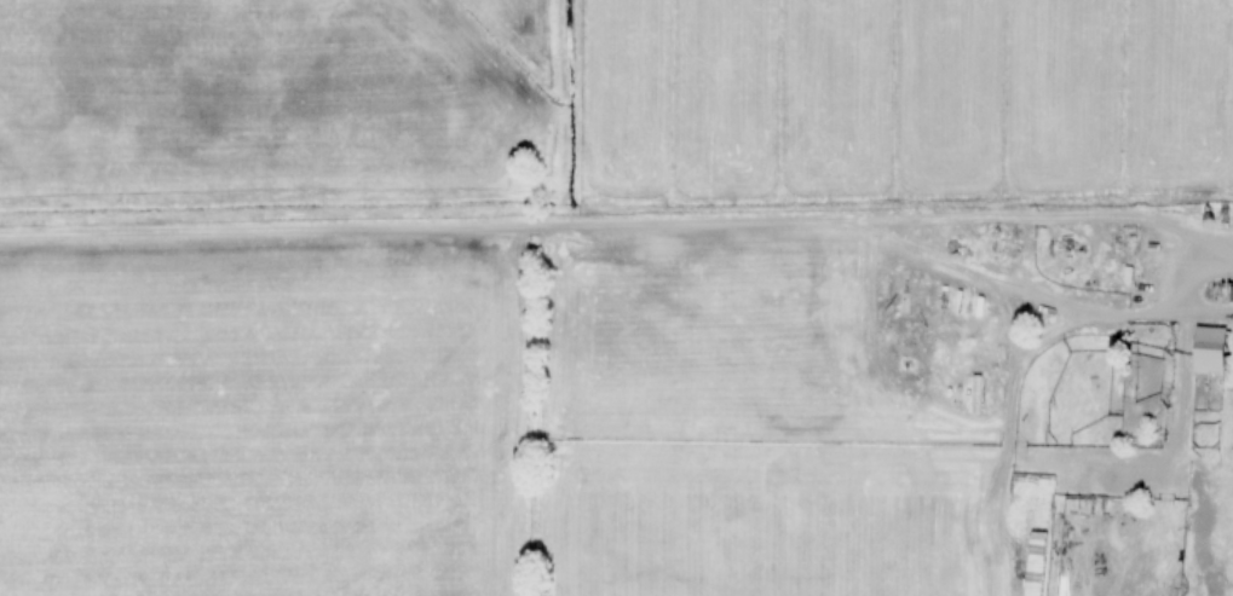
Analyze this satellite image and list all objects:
building: (1210, 349)

